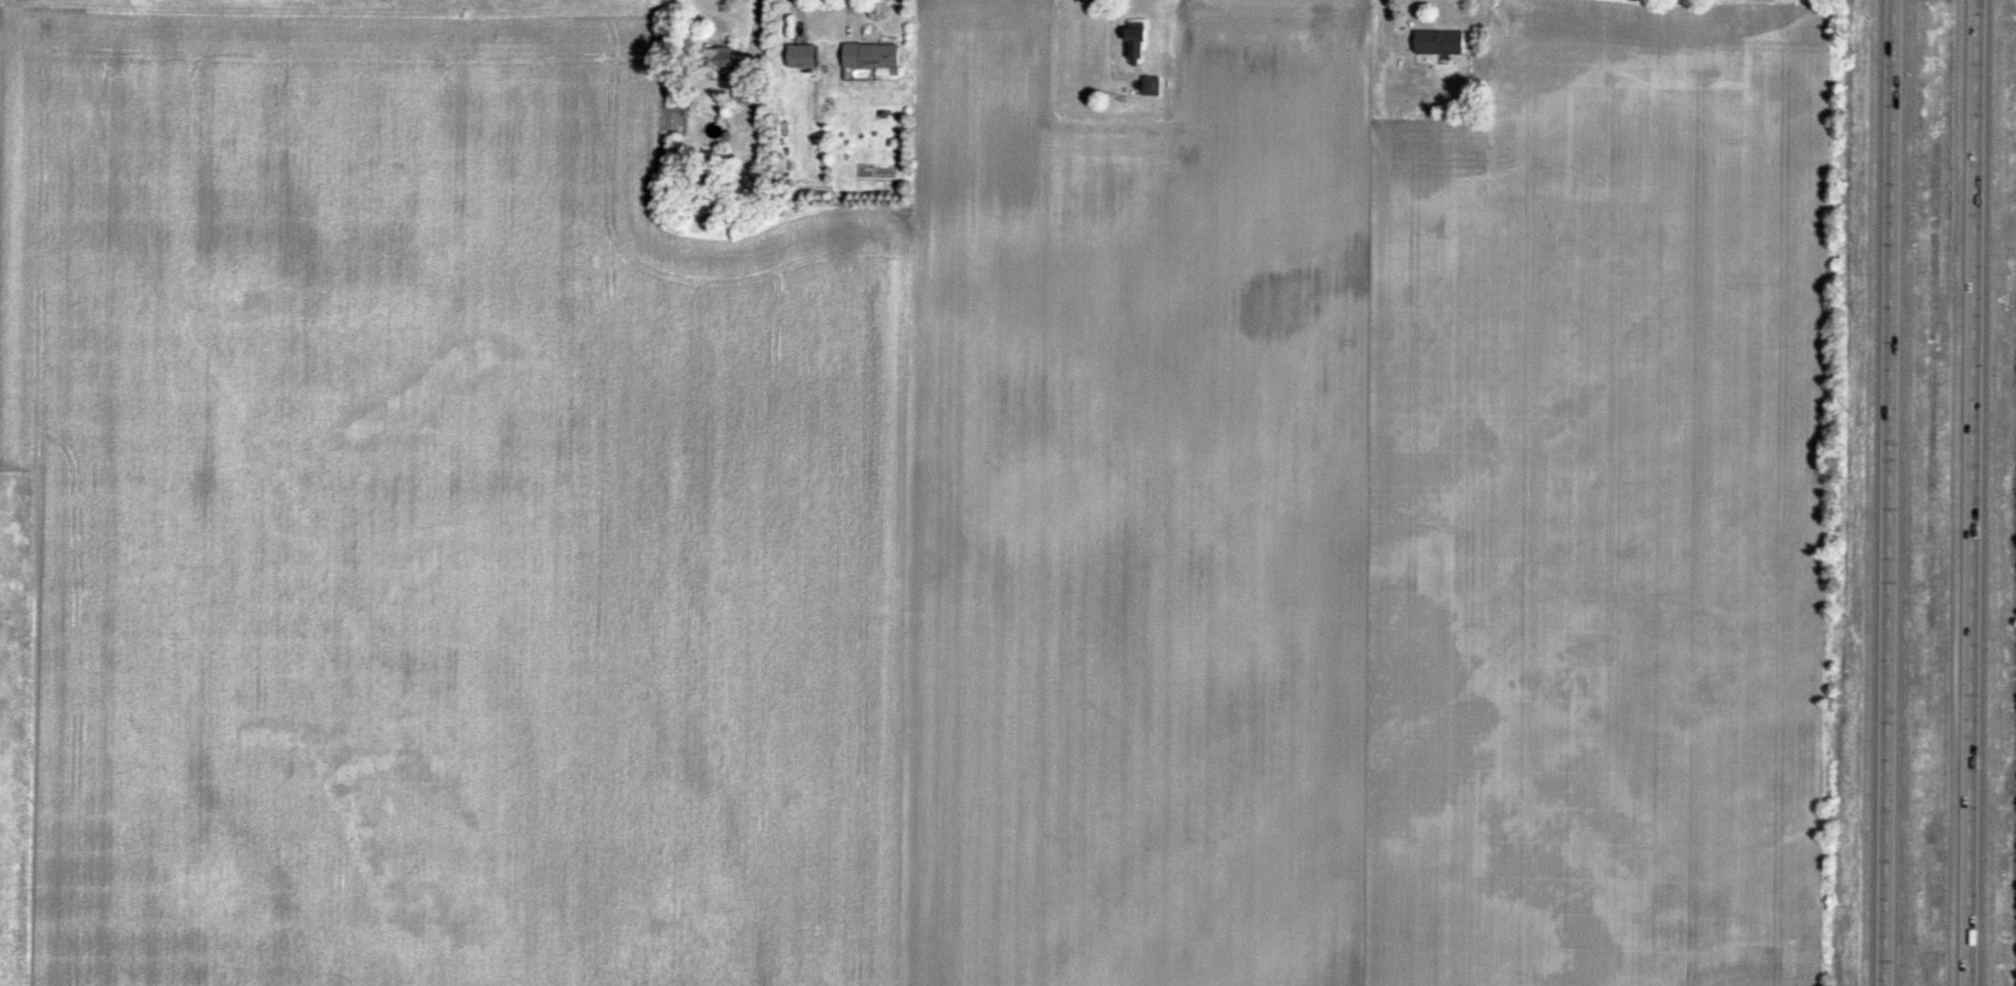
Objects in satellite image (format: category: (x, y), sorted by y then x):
building: (1135, 42)
building: (1439, 44)
building: (870, 56)
building: (802, 57)
building: (716, 62)
building: (1151, 87)
building: (745, 94)
road: (1887, 492)
road: (1974, 492)

